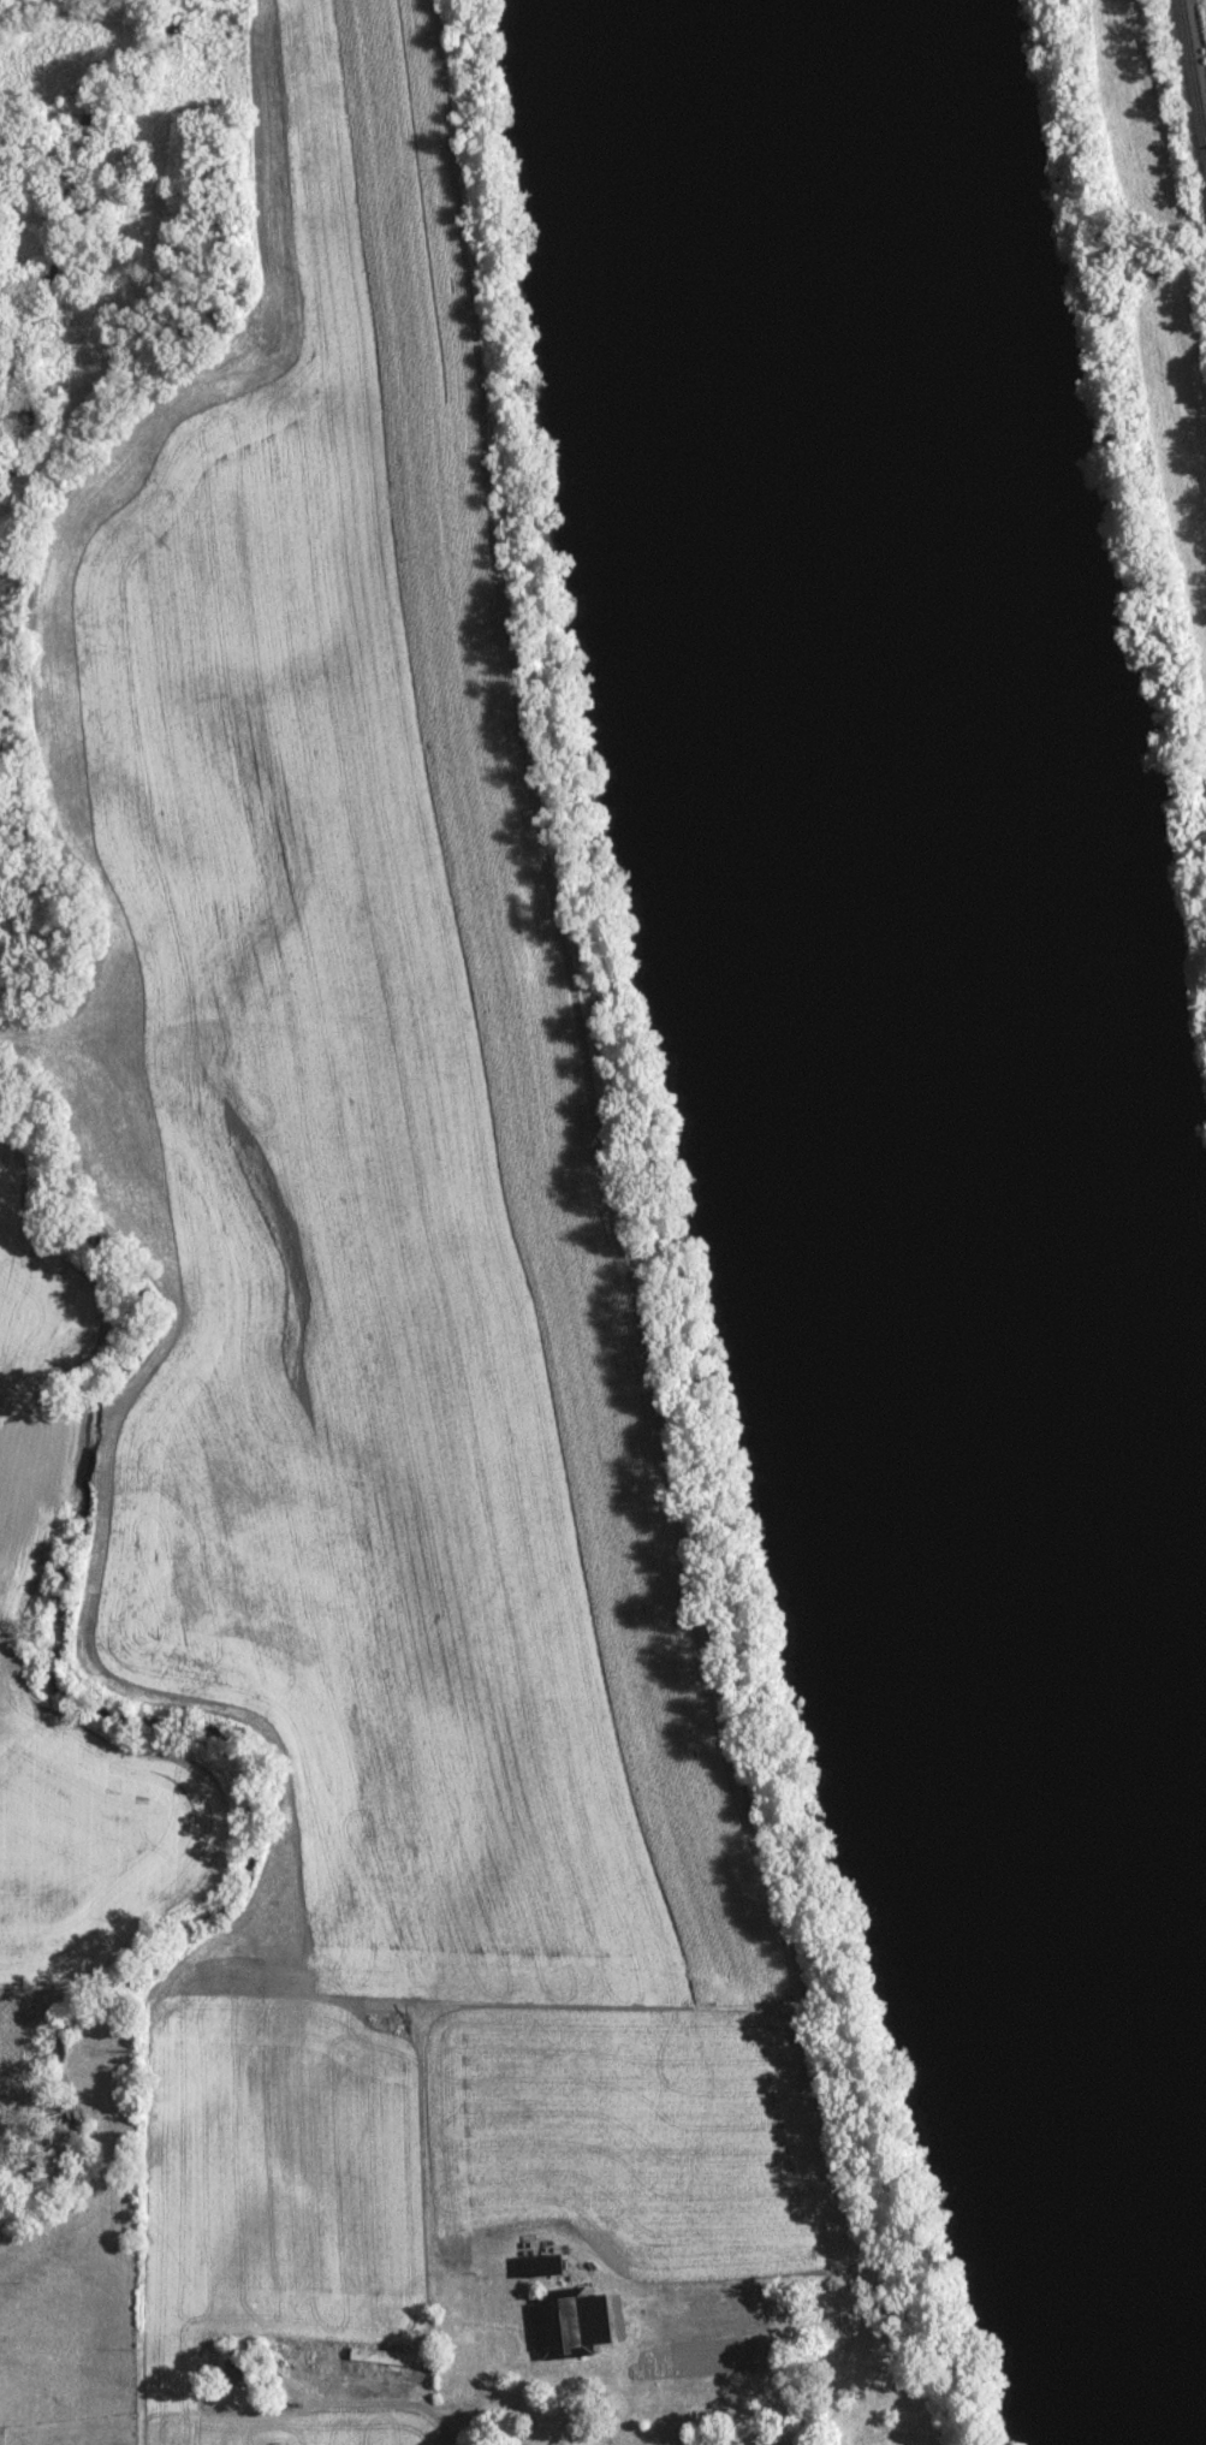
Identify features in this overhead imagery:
railway: (1198, 47)
river: (929, 1127)
building: (559, 2325)
road: (650, 2402)
road: (362, 2409)
road: (424, 2438)

